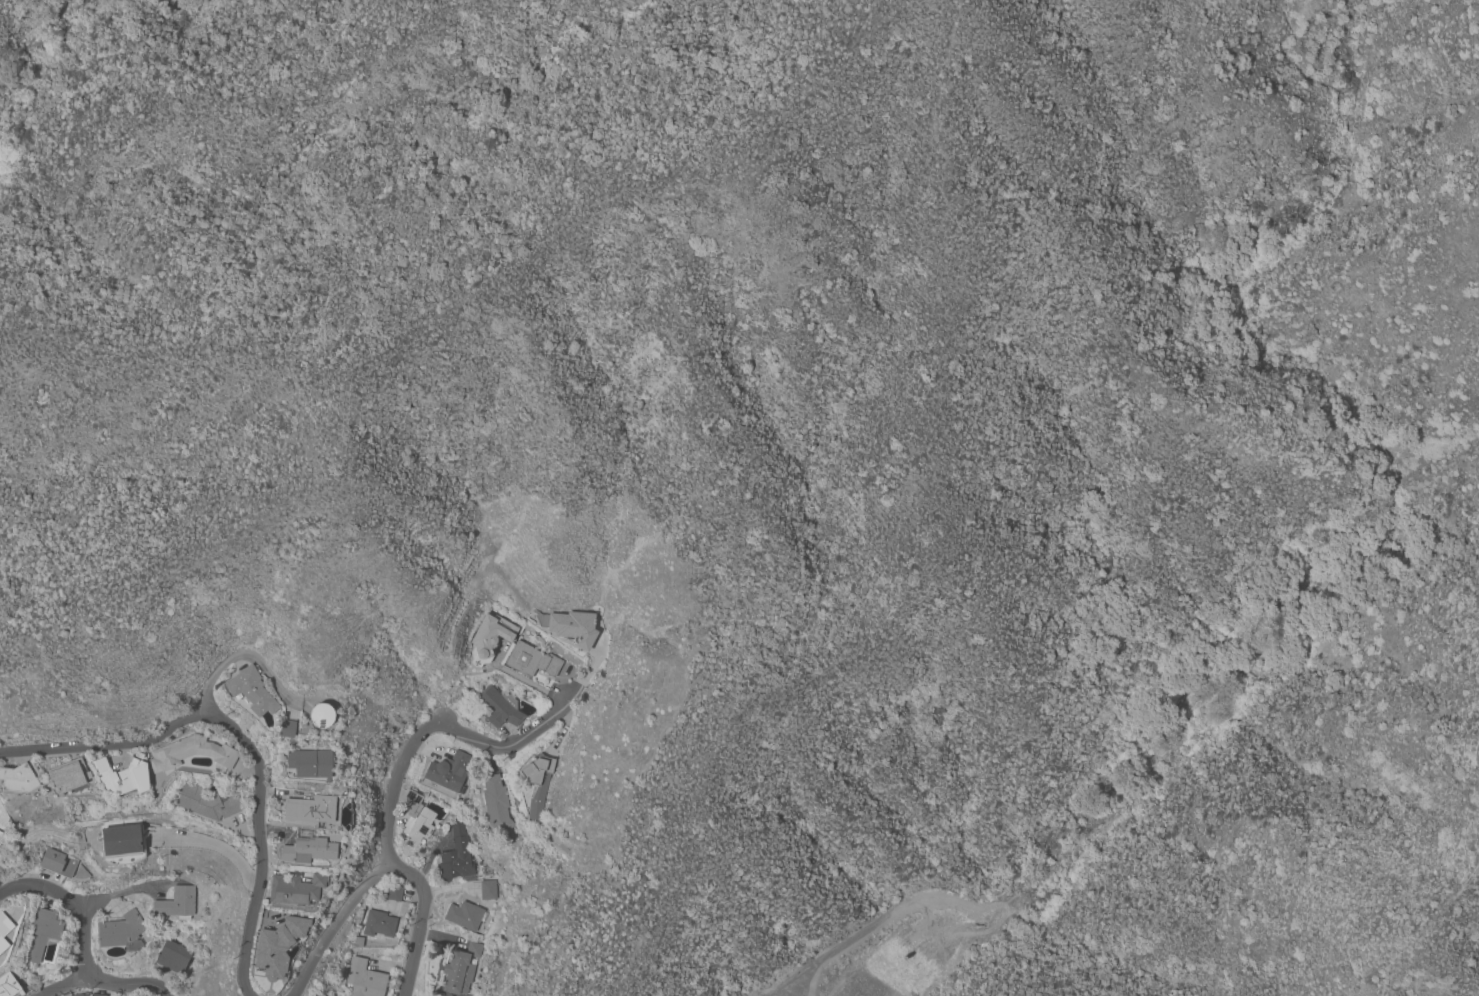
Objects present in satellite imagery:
building: (571, 626)
building: (490, 638)
road: (238, 656)
building: (531, 660)
building: (251, 690)
building: (499, 707)
building: (322, 716)
building: (287, 728)
road: (249, 739)
building: (191, 753)
building: (308, 764)
building: (447, 772)
building: (69, 775)
building: (122, 777)
building: (20, 778)
road: (400, 782)
building: (537, 784)
building: (207, 803)
building: (496, 805)
building: (310, 809)
building: (3, 818)
building: (416, 819)
building: (121, 841)
road: (213, 846)
building: (309, 851)
building: (456, 856)
building: (57, 863)
building: (296, 889)
building: (488, 890)
road: (120, 893)
building: (394, 893)
building: (176, 903)
road: (73, 904)
building: (464, 916)
building: (375, 923)
road: (335, 925)
building: (3, 930)
building: (121, 930)
building: (43, 933)
building: (278, 946)
road: (829, 956)
building: (172, 958)
building: (460, 969)
building: (364, 979)
road: (128, 985)
building: (9, 986)
road: (68, 986)
building: (81, 994)
building: (97, 994)

